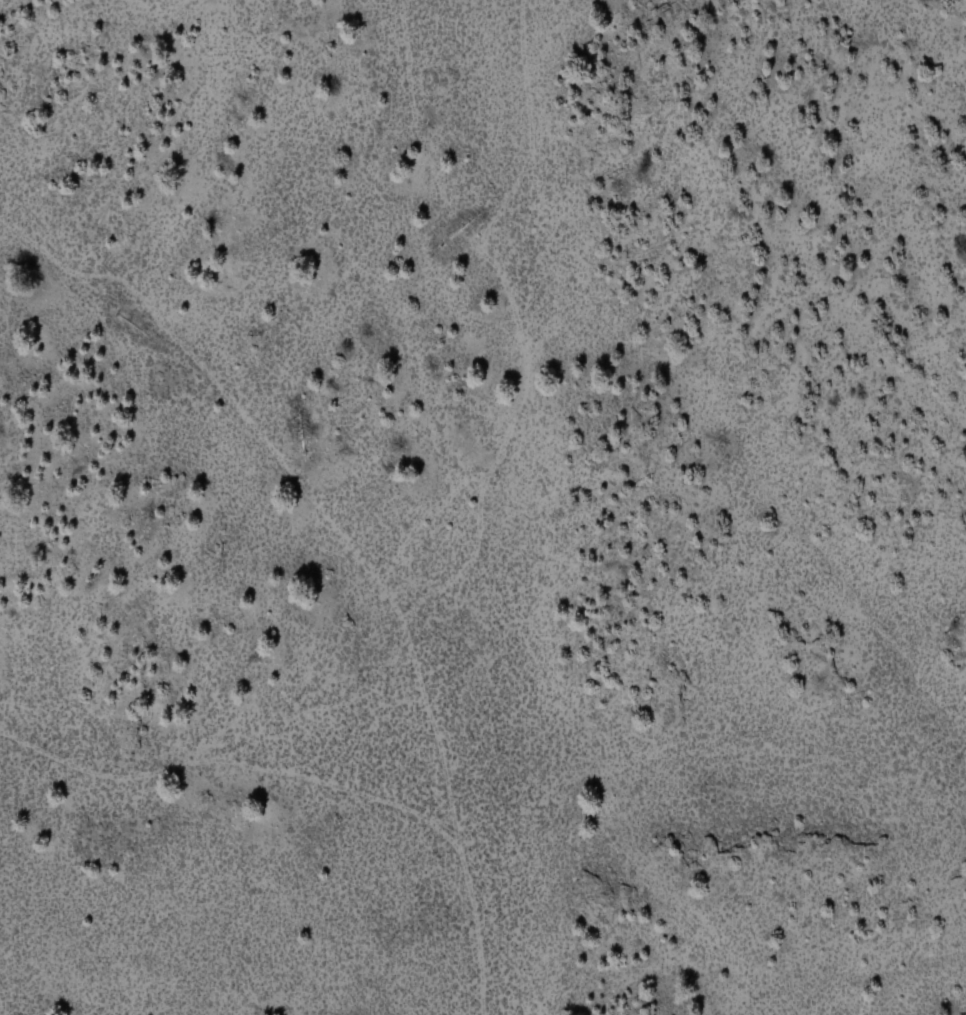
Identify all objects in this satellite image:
road: (529, 68)
road: (502, 192)
mineshaft: (452, 228)
road: (501, 438)
road: (344, 553)

